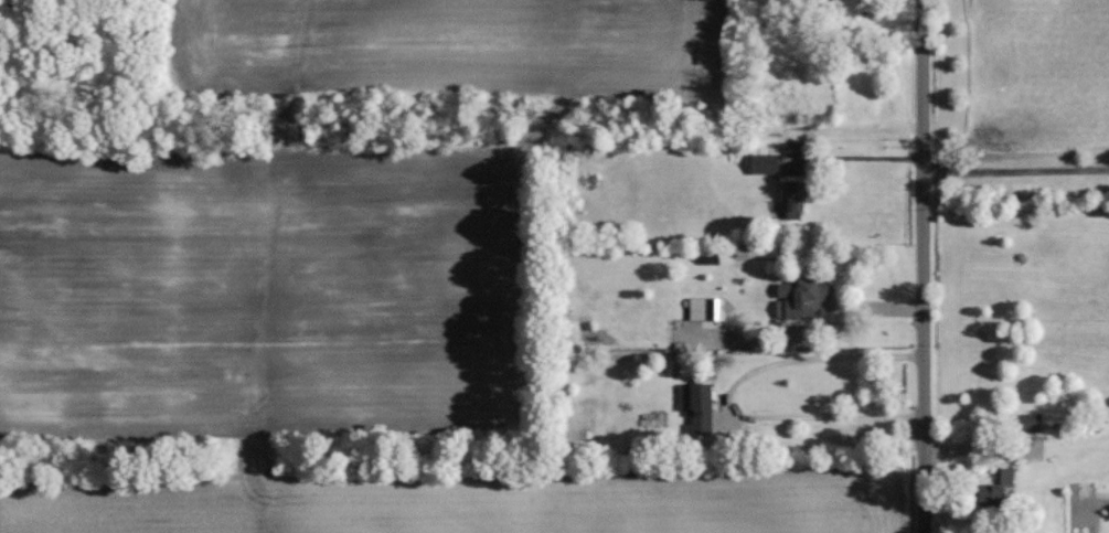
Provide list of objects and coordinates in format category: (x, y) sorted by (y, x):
road: (856, 154)
road: (1014, 168)
building: (791, 199)
road: (919, 266)
building: (800, 298)
building: (704, 308)
road: (844, 310)
road: (735, 396)
building: (697, 406)
building: (1031, 423)

